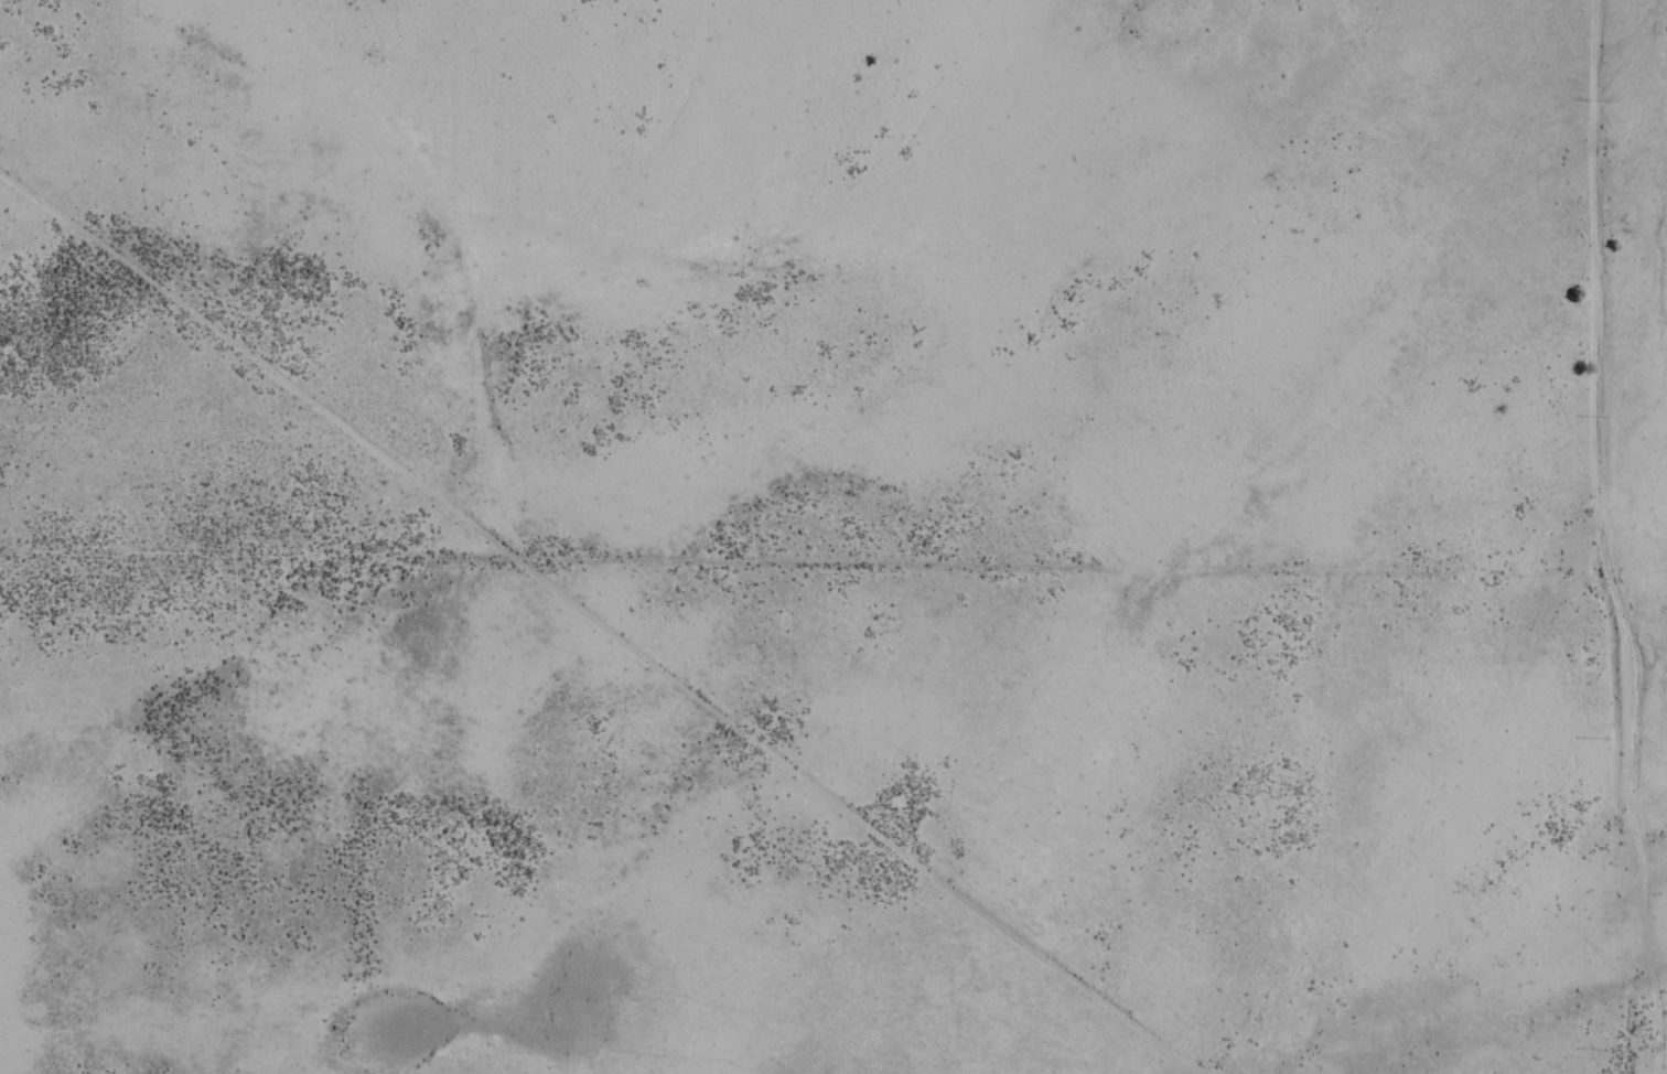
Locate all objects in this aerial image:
road: (659, 659)

